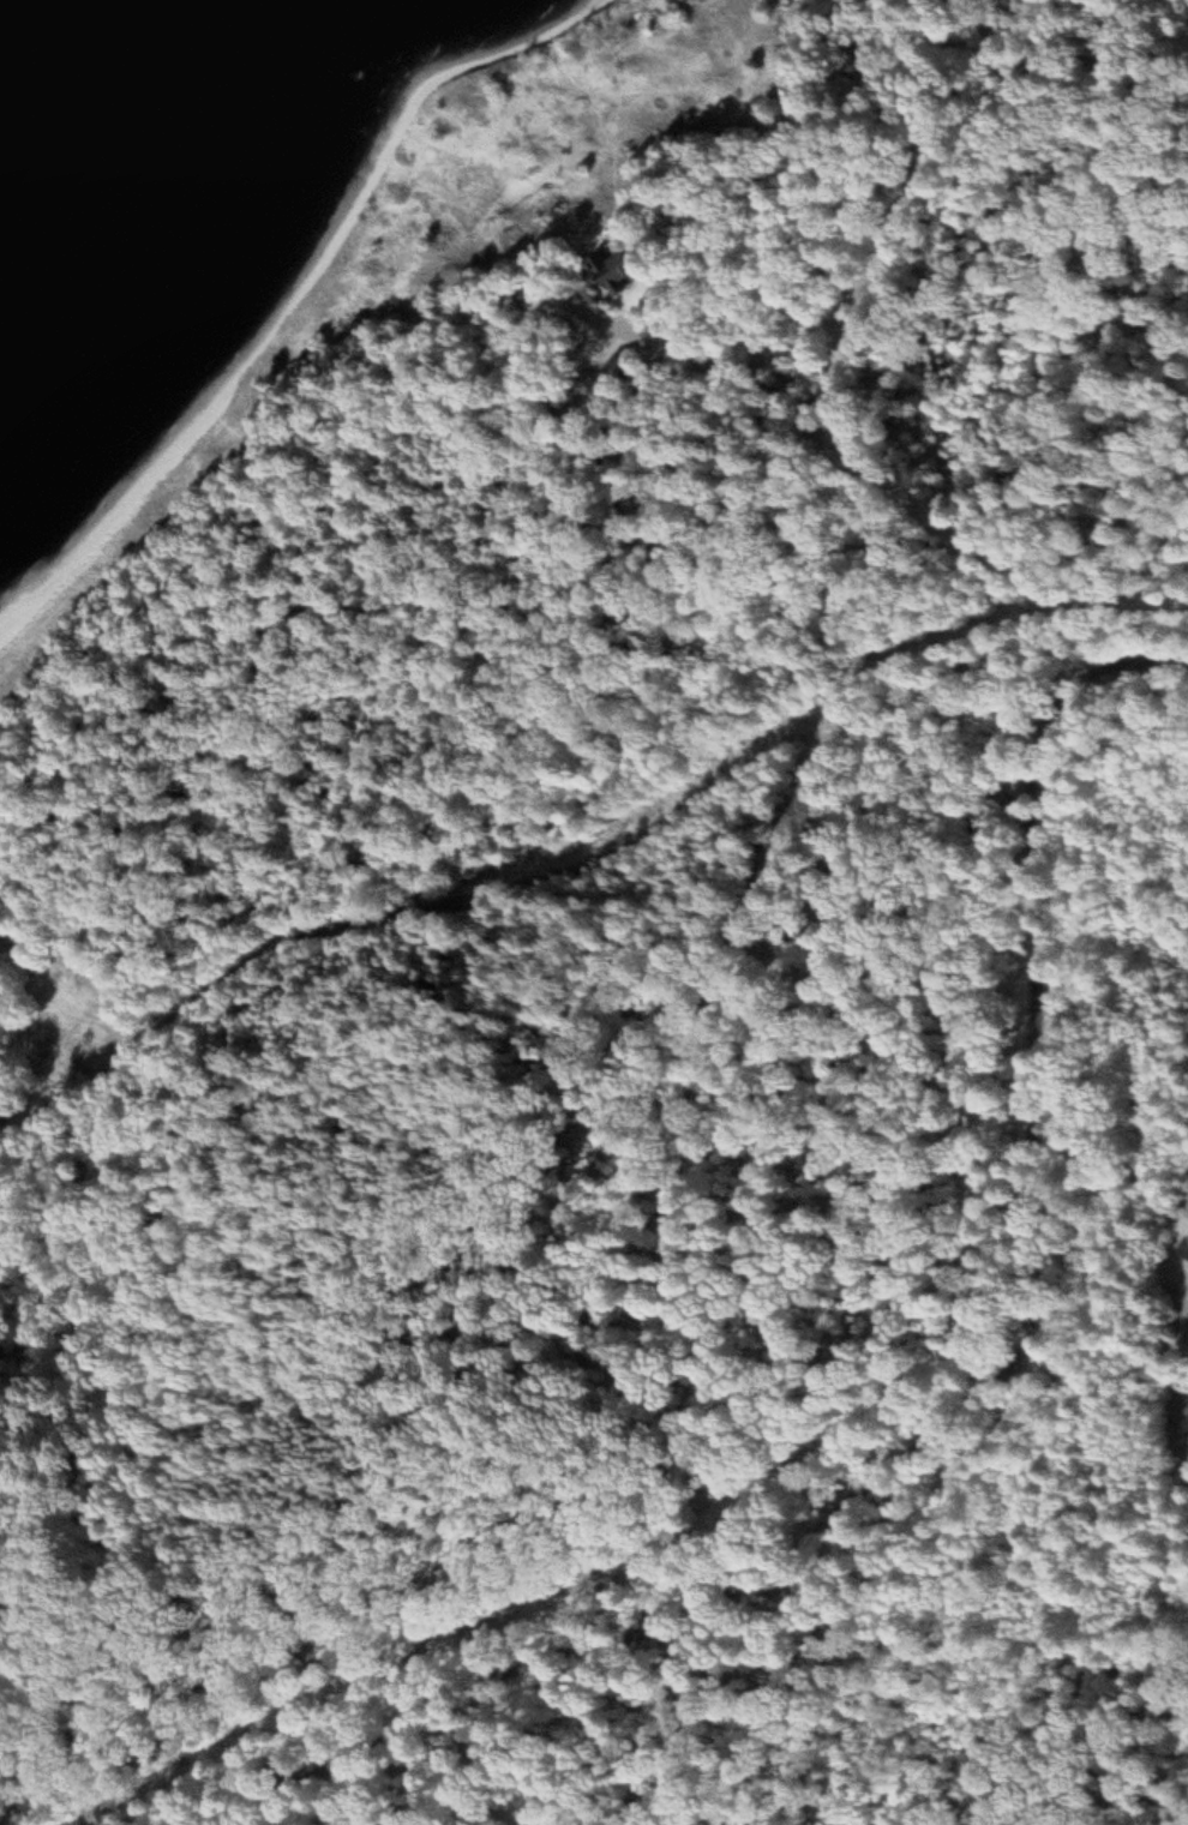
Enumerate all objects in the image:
road: (1141, 17)
road: (1081, 19)
building: (618, 275)
road: (841, 354)
road: (743, 358)
road: (516, 892)
road: (80, 973)
building: (1183, 1248)
road: (1110, 1329)
road: (972, 1410)

